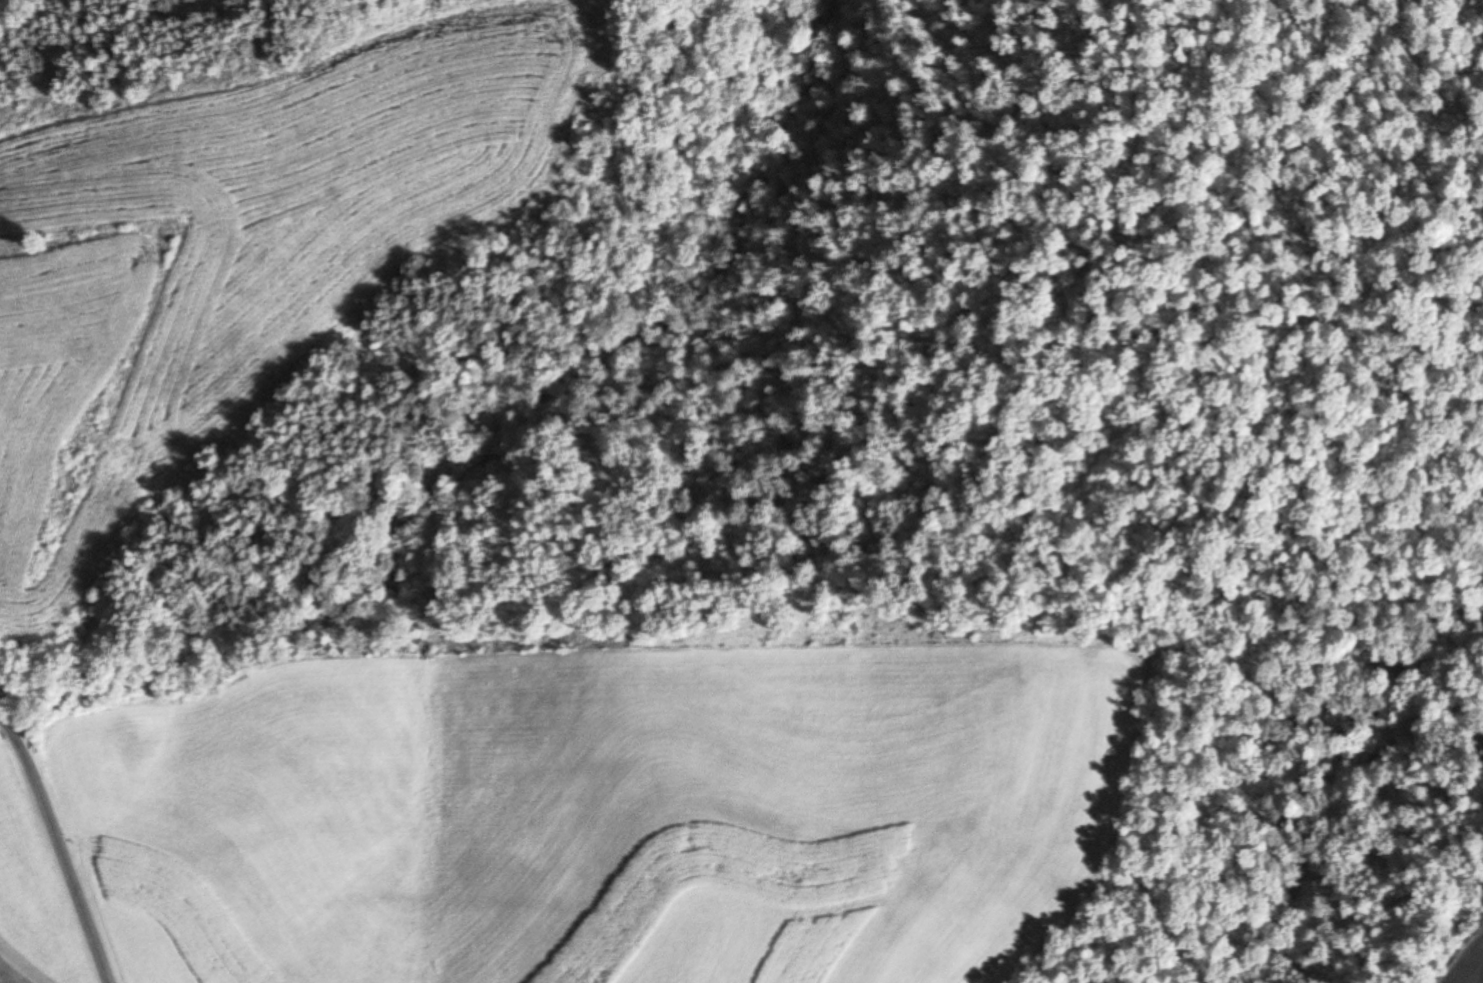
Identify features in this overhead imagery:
road: (53, 857)

